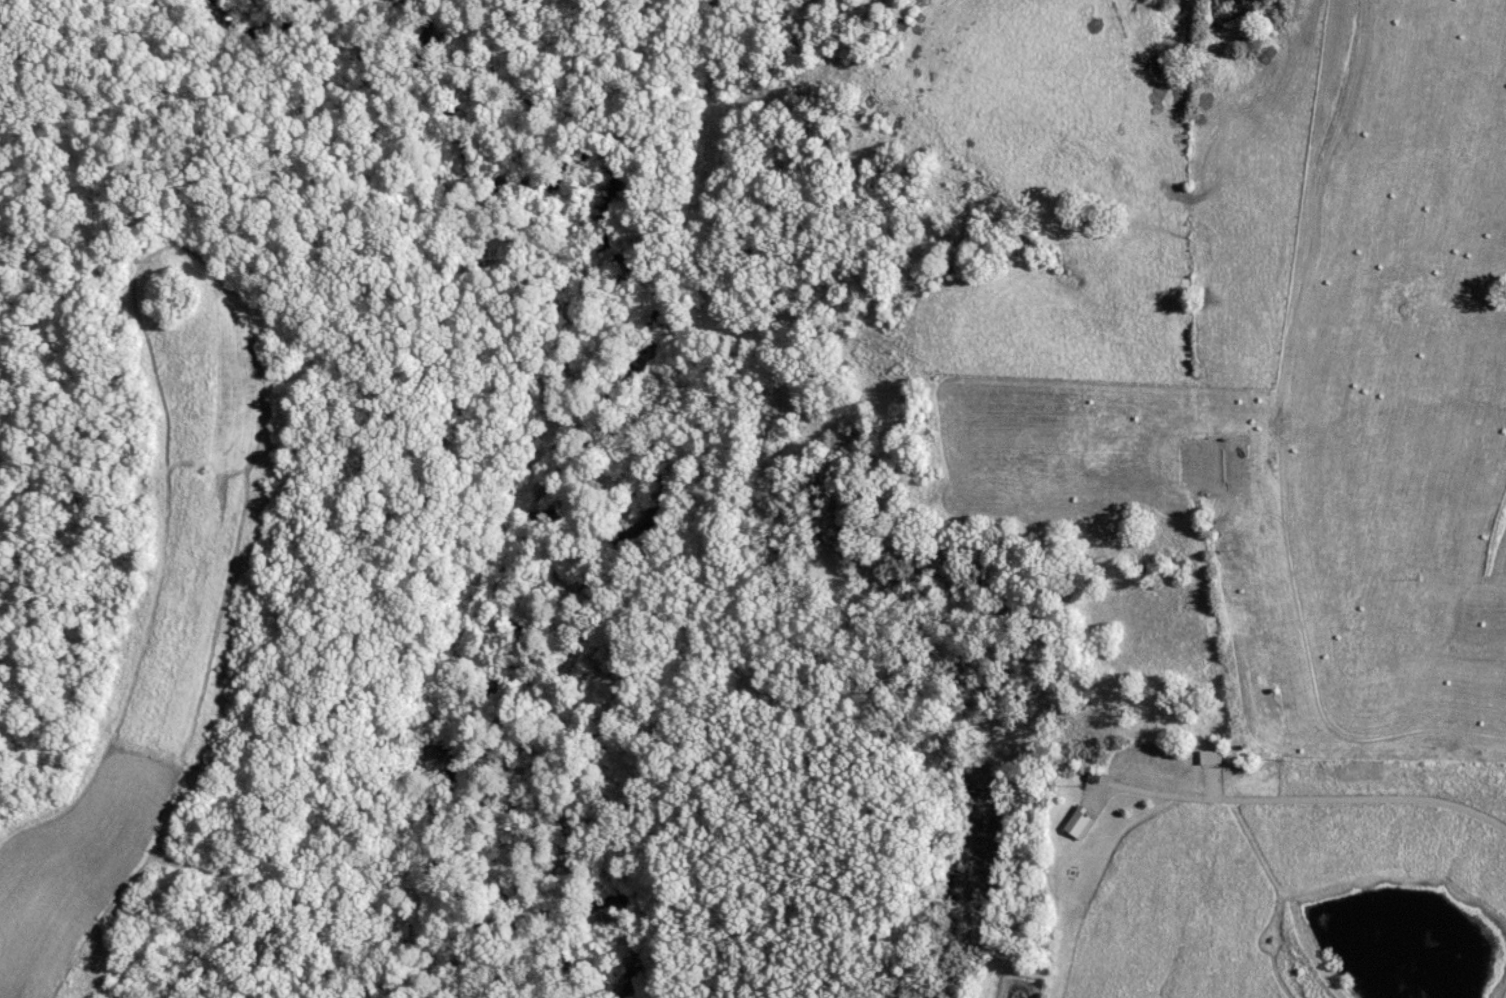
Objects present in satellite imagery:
road: (1301, 801)
building: (1084, 824)

